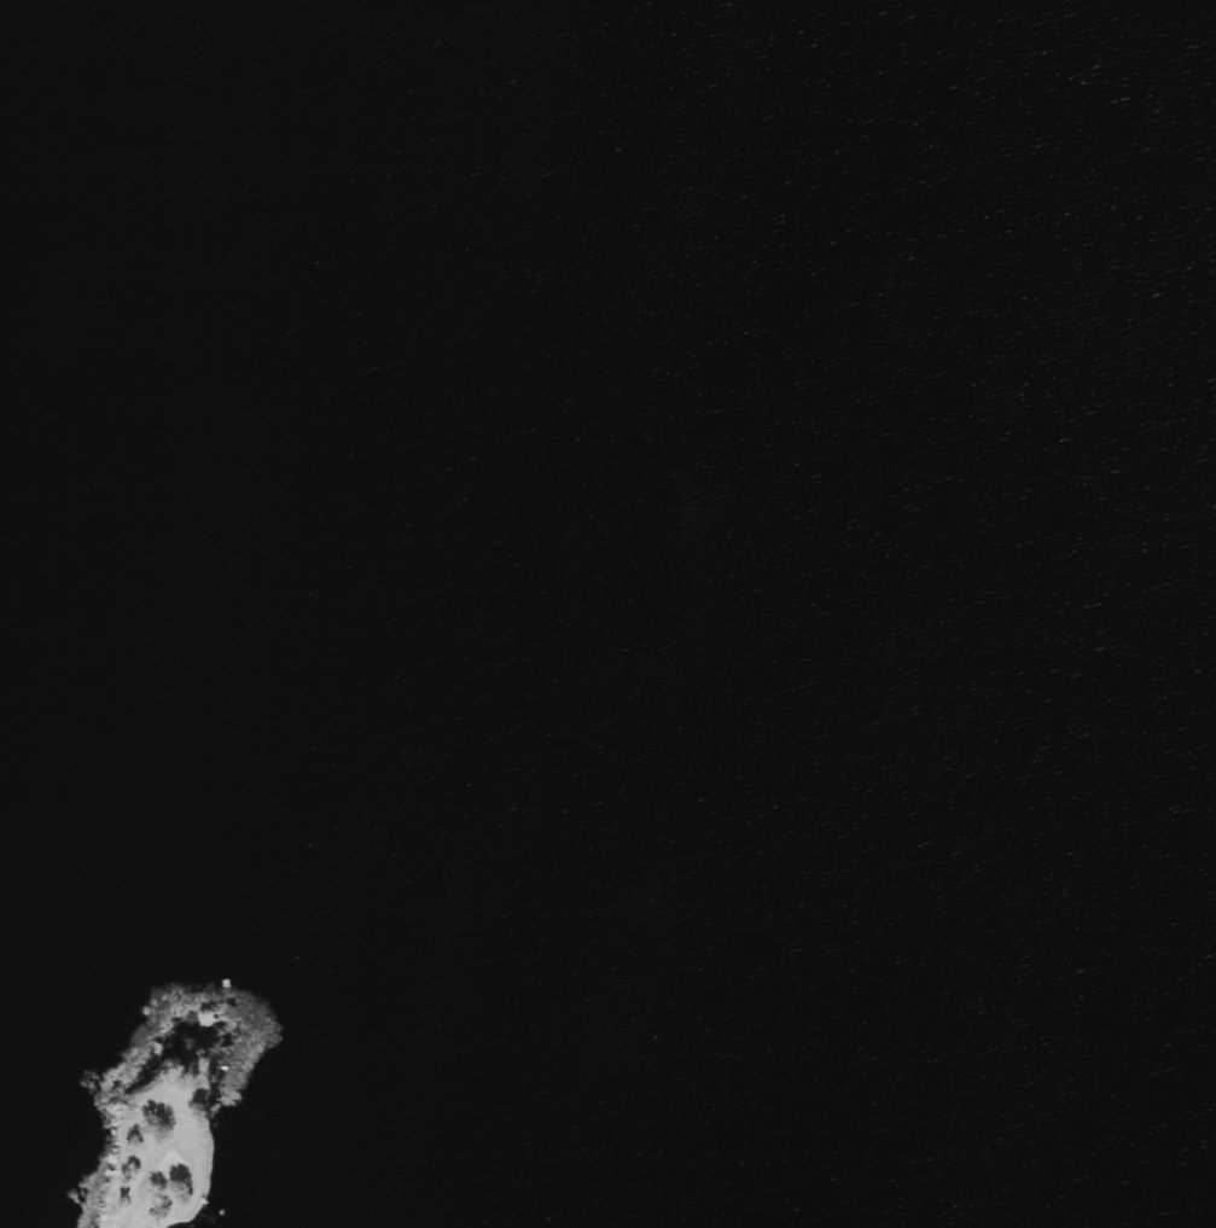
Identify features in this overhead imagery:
river: (680, 537)
building: (174, 1146)

